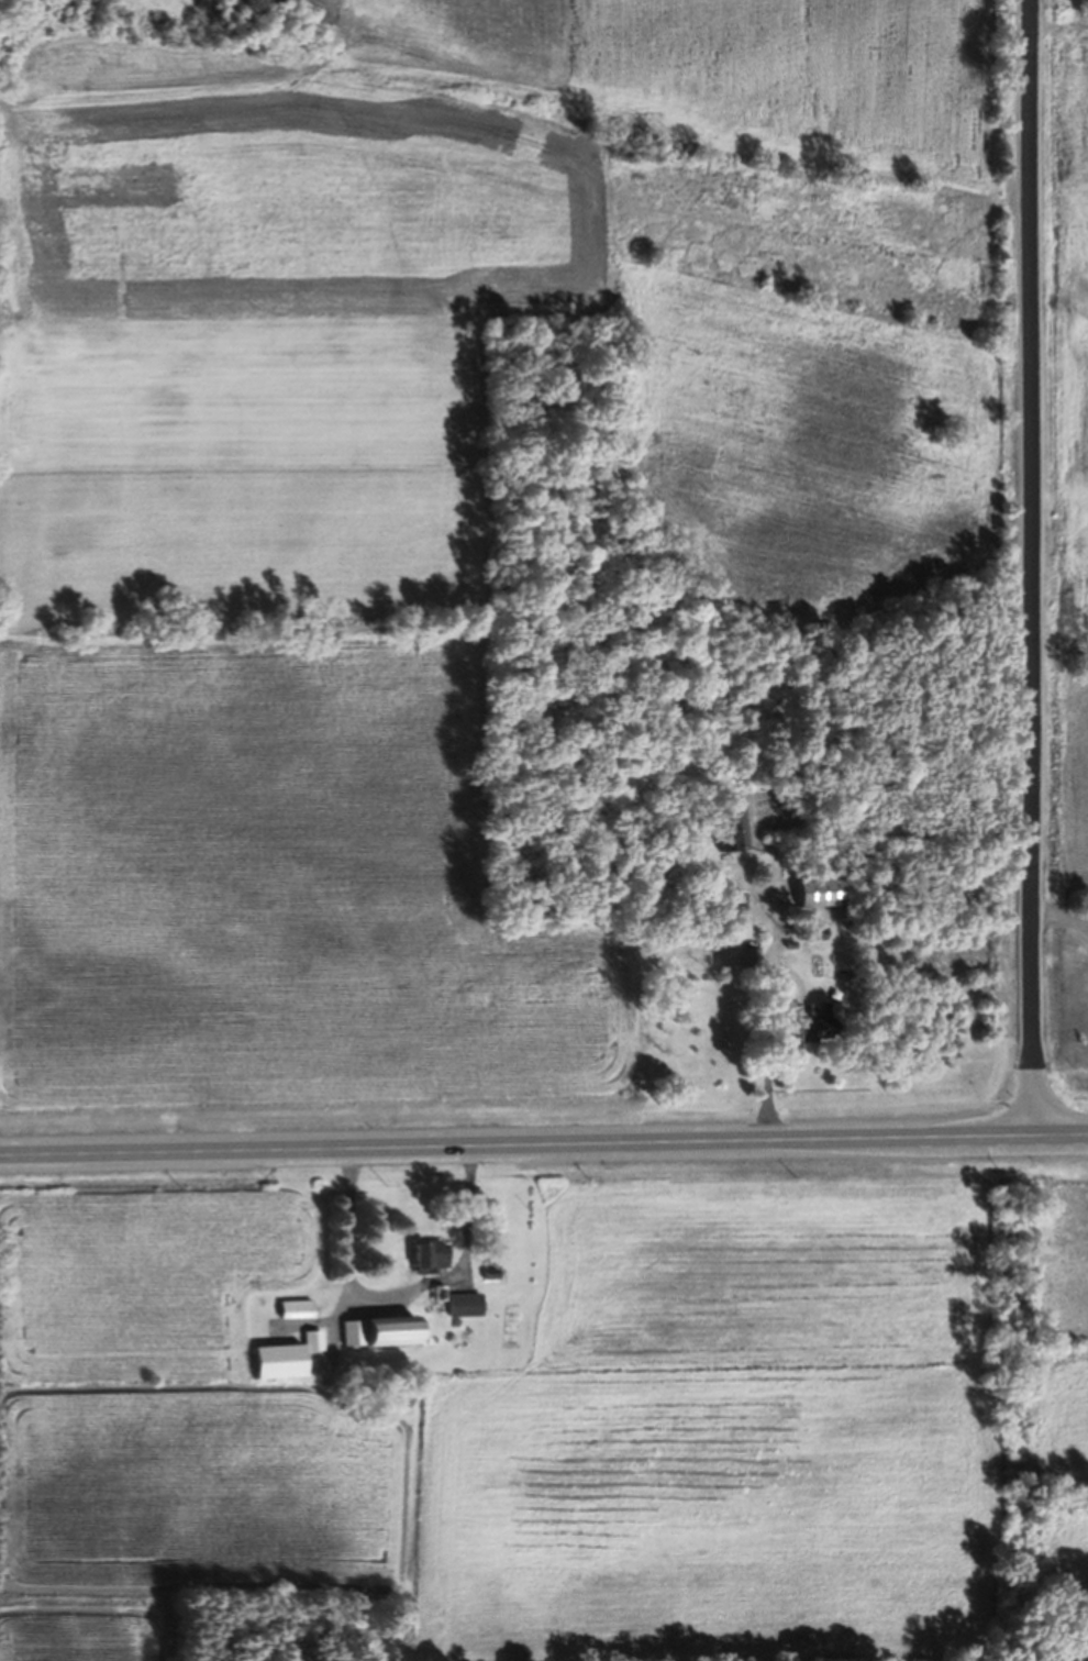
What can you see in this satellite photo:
crop: (422, 488)
road: (1032, 572)
building: (817, 900)
building: (745, 968)
road: (544, 1154)
building: (426, 1265)
building: (464, 1314)
building: (392, 1339)
building: (347, 1342)
building: (280, 1367)

